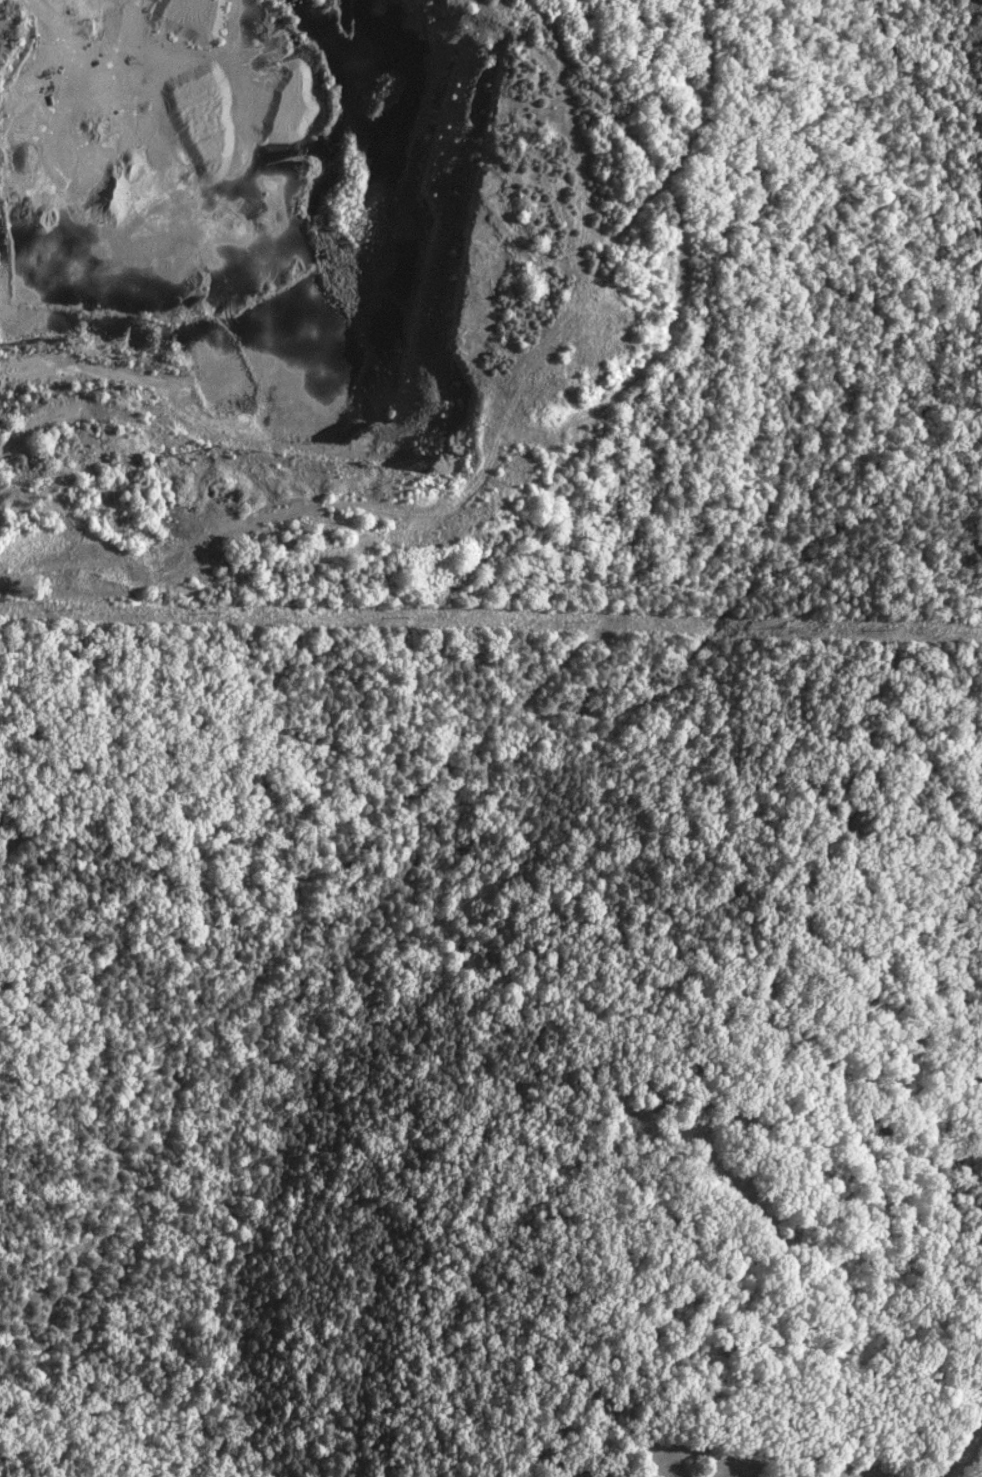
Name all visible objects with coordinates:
quarry: (296, 267)

